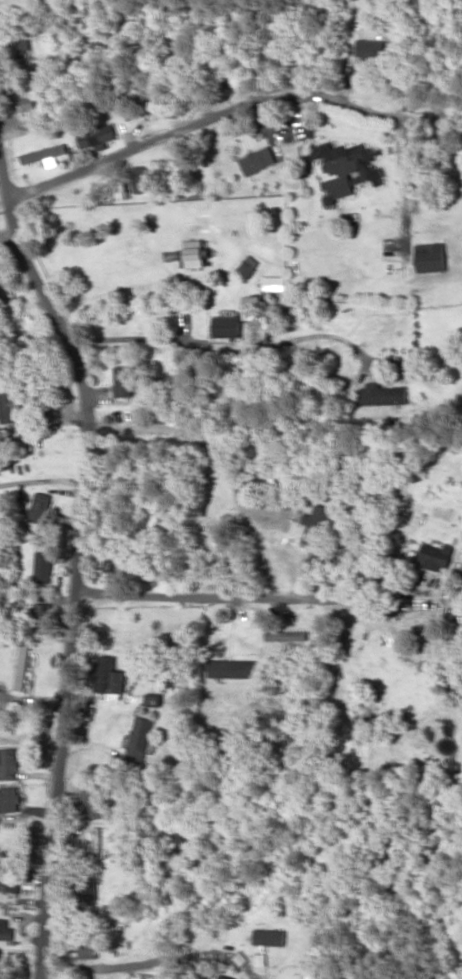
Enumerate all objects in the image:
building: (369, 48)
building: (149, 97)
building: (32, 102)
road: (214, 113)
building: (96, 136)
building: (42, 153)
building: (258, 159)
building: (49, 161)
building: (348, 161)
building: (140, 178)
building: (194, 253)
building: (430, 256)
building: (248, 265)
building: (274, 282)
building: (250, 307)
building: (227, 326)
road: (221, 344)
building: (123, 380)
building: (382, 394)
building: (9, 406)
building: (39, 506)
building: (315, 525)
building: (434, 554)
road: (73, 559)
building: (111, 565)
building: (42, 567)
building: (42, 615)
building: (288, 634)
building: (20, 666)
building: (232, 668)
building: (108, 677)
building: (140, 739)
building: (8, 763)
building: (9, 799)
building: (9, 881)
building: (4, 928)
building: (269, 936)
building: (305, 975)
building: (223, 977)
road: (262, 977)

